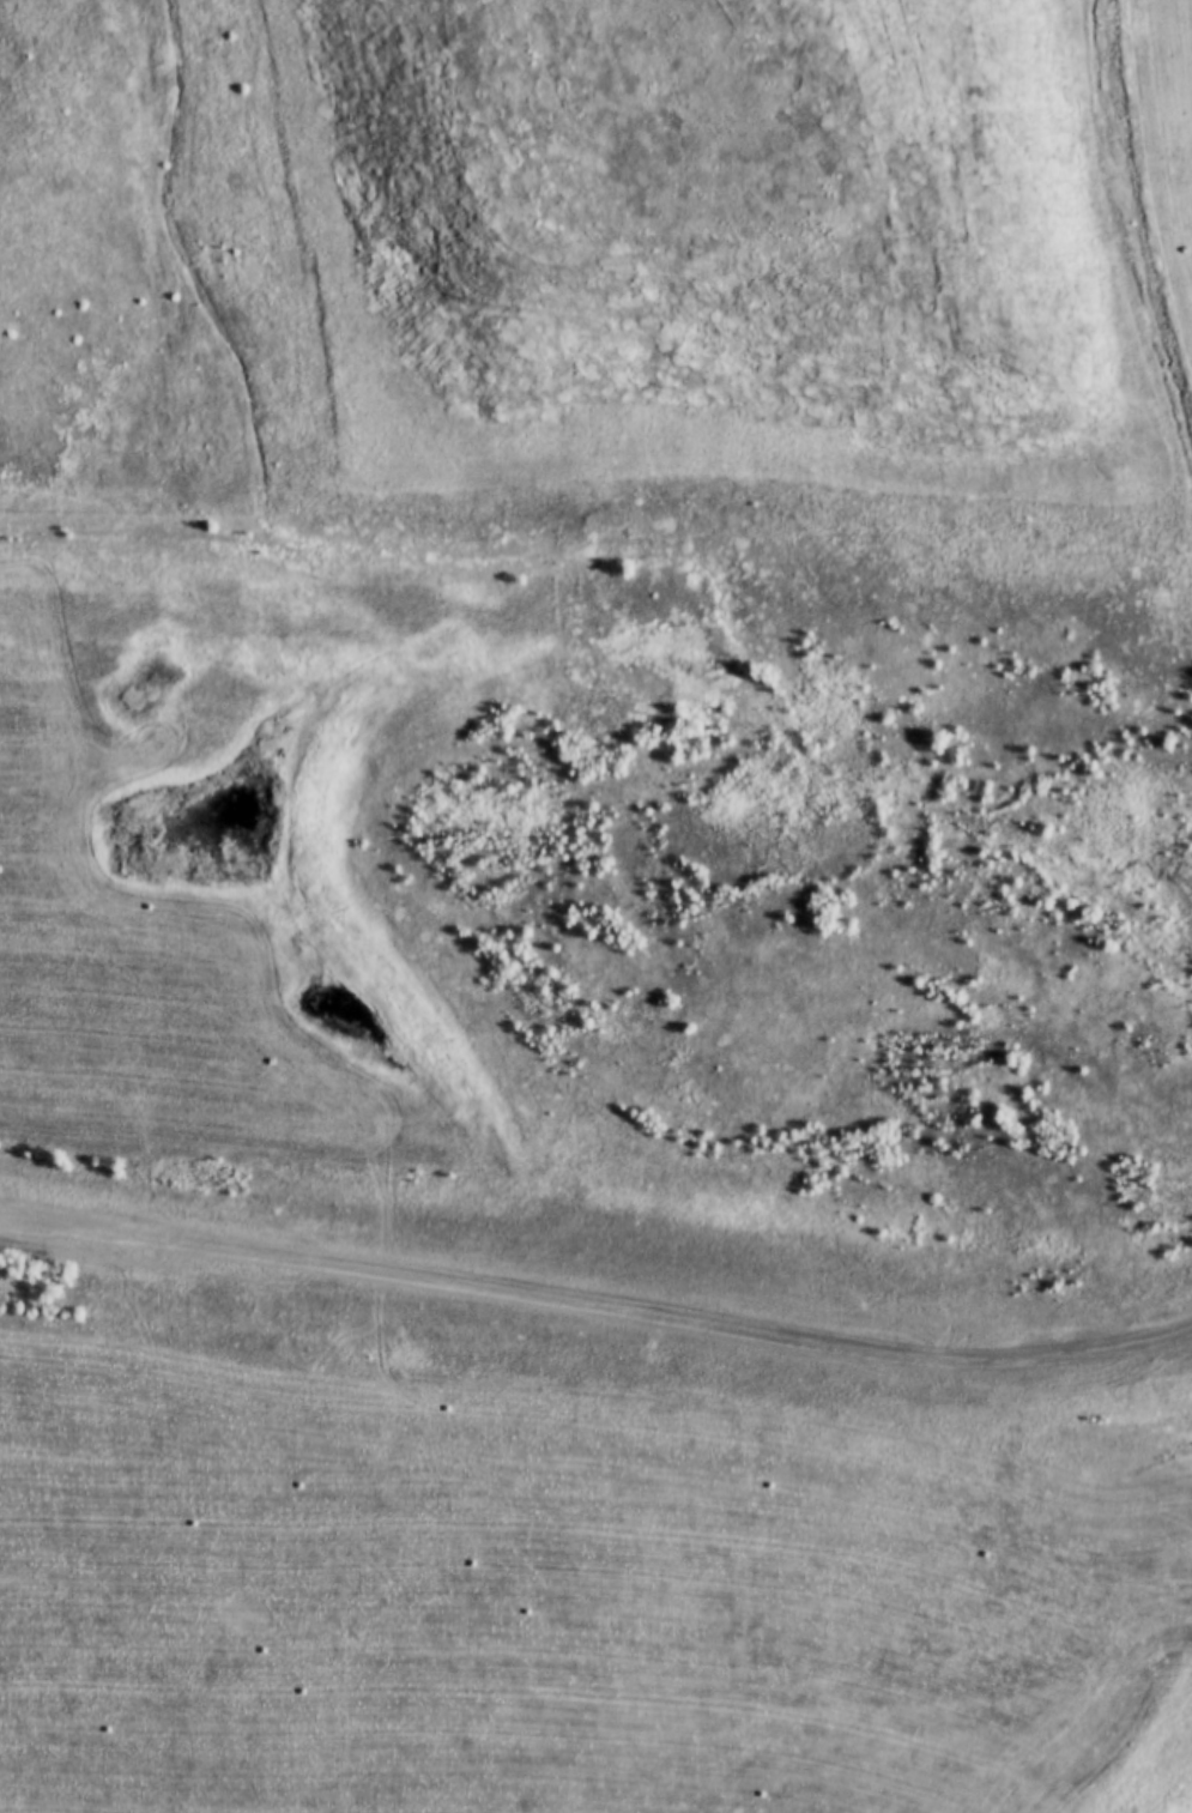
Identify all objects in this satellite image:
quarry: (683, 543)
road: (595, 1277)

